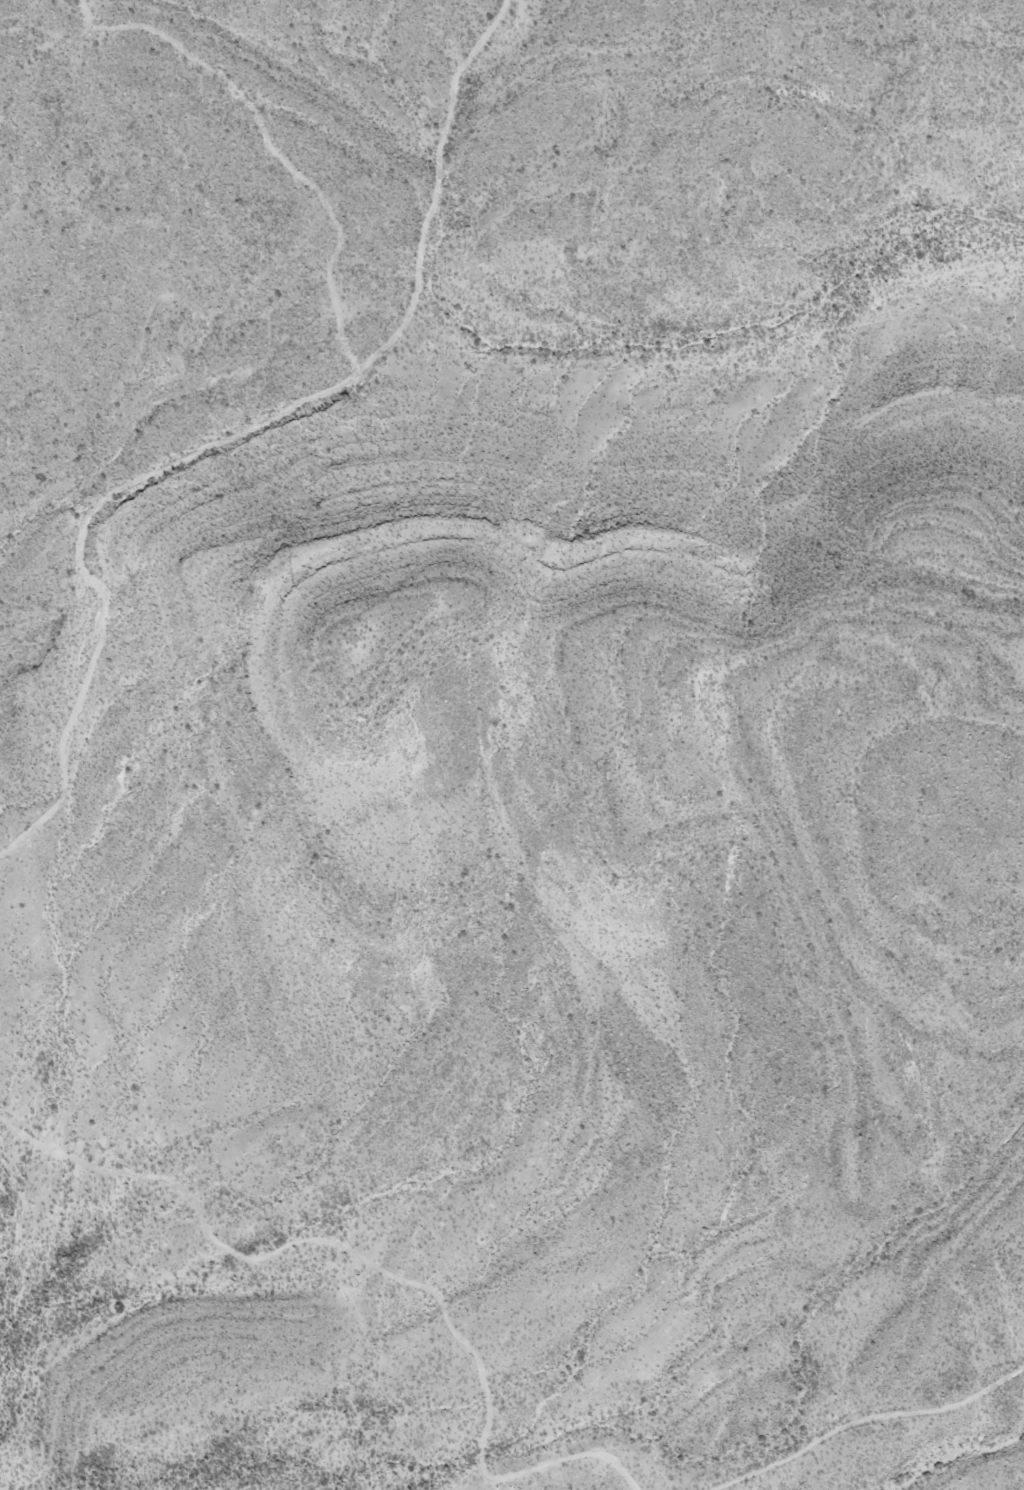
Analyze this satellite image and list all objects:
road: (887, 1441)

